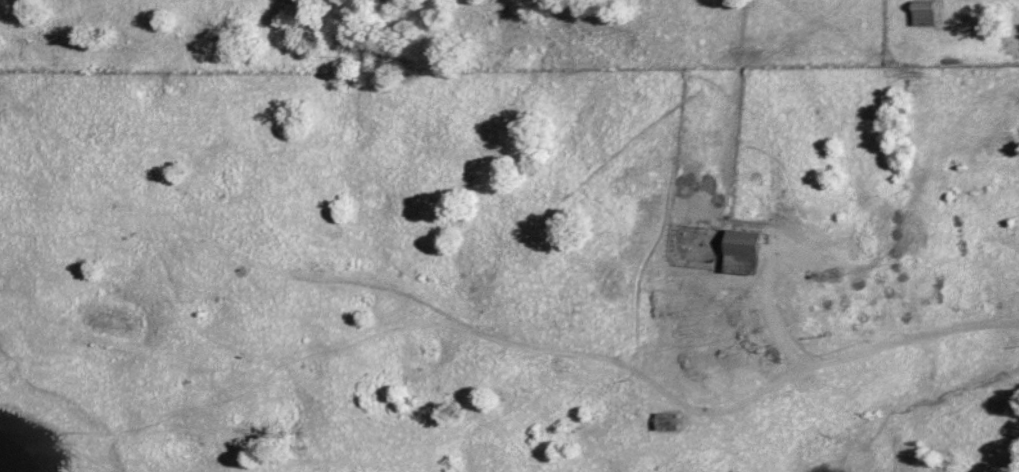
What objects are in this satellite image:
building: (919, 12)
building: (736, 250)
road: (509, 342)
building: (663, 420)

